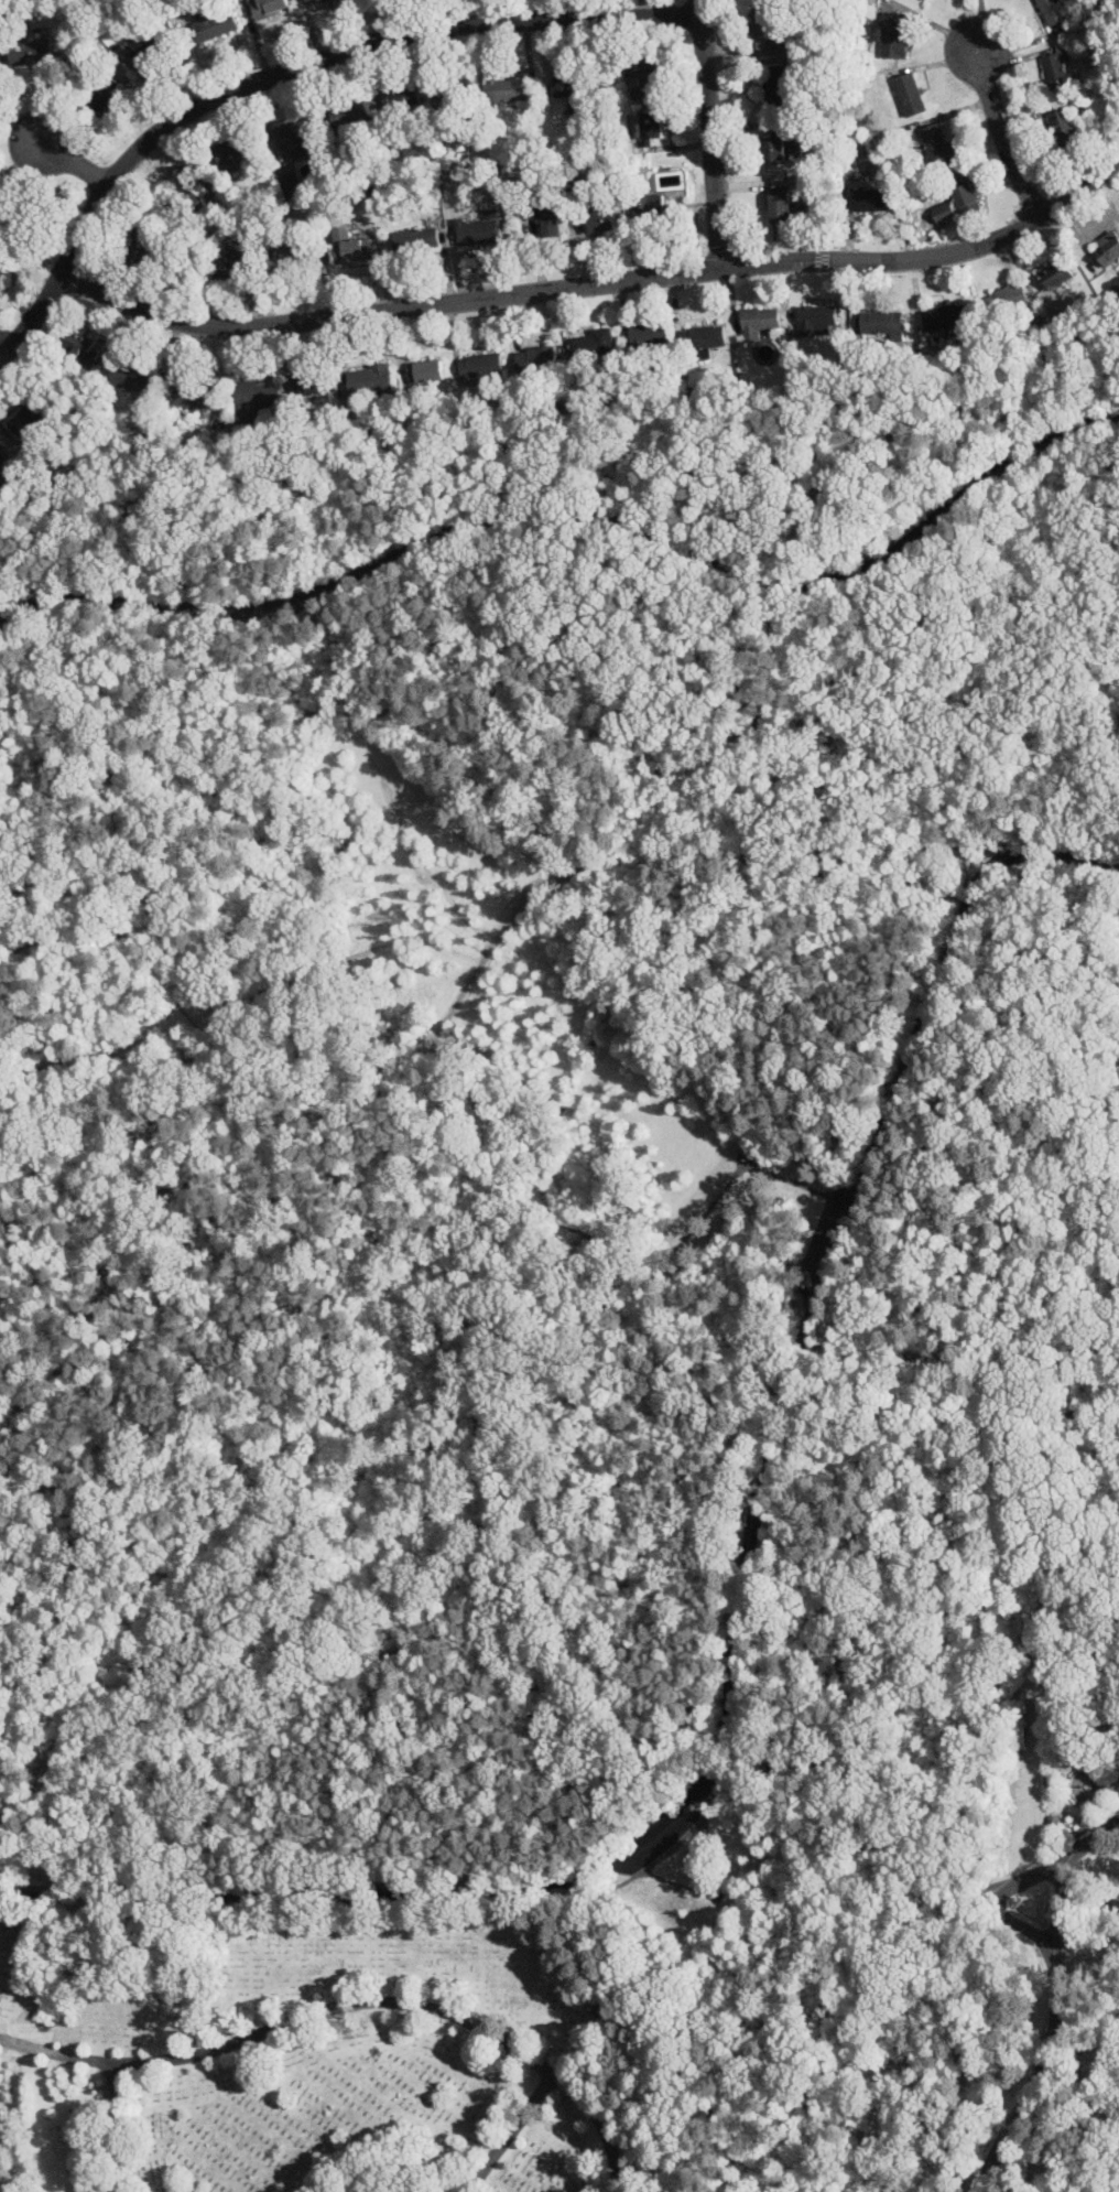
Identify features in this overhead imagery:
building: (311, 1)
building: (268, 8)
building: (1050, 11)
building: (215, 22)
building: (765, 25)
building: (893, 34)
building: (151, 52)
building: (30, 53)
building: (1054, 71)
road: (287, 72)
building: (643, 78)
building: (568, 86)
building: (775, 86)
building: (455, 88)
building: (508, 88)
building: (909, 93)
building: (401, 97)
building: (106, 99)
building: (117, 99)
building: (410, 105)
building: (348, 114)
building: (1056, 122)
building: (652, 126)
building: (300, 131)
road: (711, 132)
road: (999, 136)
building: (937, 145)
building: (776, 148)
building: (231, 151)
road: (70, 163)
building: (289, 179)
building: (185, 194)
building: (966, 195)
building: (870, 199)
building: (781, 203)
building: (651, 209)
building: (943, 212)
building: (19, 217)
building: (602, 219)
building: (551, 220)
building: (476, 231)
building: (415, 239)
building: (146, 244)
building: (351, 245)
building: (1105, 248)
building: (297, 257)
building: (232, 264)
building: (1, 281)
road: (600, 281)
building: (944, 316)
building: (818, 317)
building: (760, 321)
building: (882, 322)
building: (649, 334)
building: (706, 336)
building: (589, 342)
building: (80, 345)
building: (535, 357)
building: (480, 365)
building: (425, 370)
building: (134, 378)
building: (370, 379)
building: (313, 384)
building: (194, 395)
building: (257, 397)
building: (29, 421)
building: (1, 457)
road: (577, 519)
building: (281, 604)
road: (271, 668)
road: (800, 692)
road: (1039, 703)
road: (117, 749)
road: (507, 803)
road: (1075, 856)
road: (985, 859)
road: (48, 938)
road: (492, 943)
road: (703, 998)
park: (530, 1153)
road: (218, 1262)
road: (613, 1345)
road: (732, 1652)
park: (977, 1782)
road: (798, 1887)
road: (999, 1902)
road: (1052, 2001)
road: (348, 2007)
road: (855, 2050)
park: (315, 2064)
road: (905, 2075)
road: (111, 2129)
road: (508, 2132)
road: (409, 2172)

